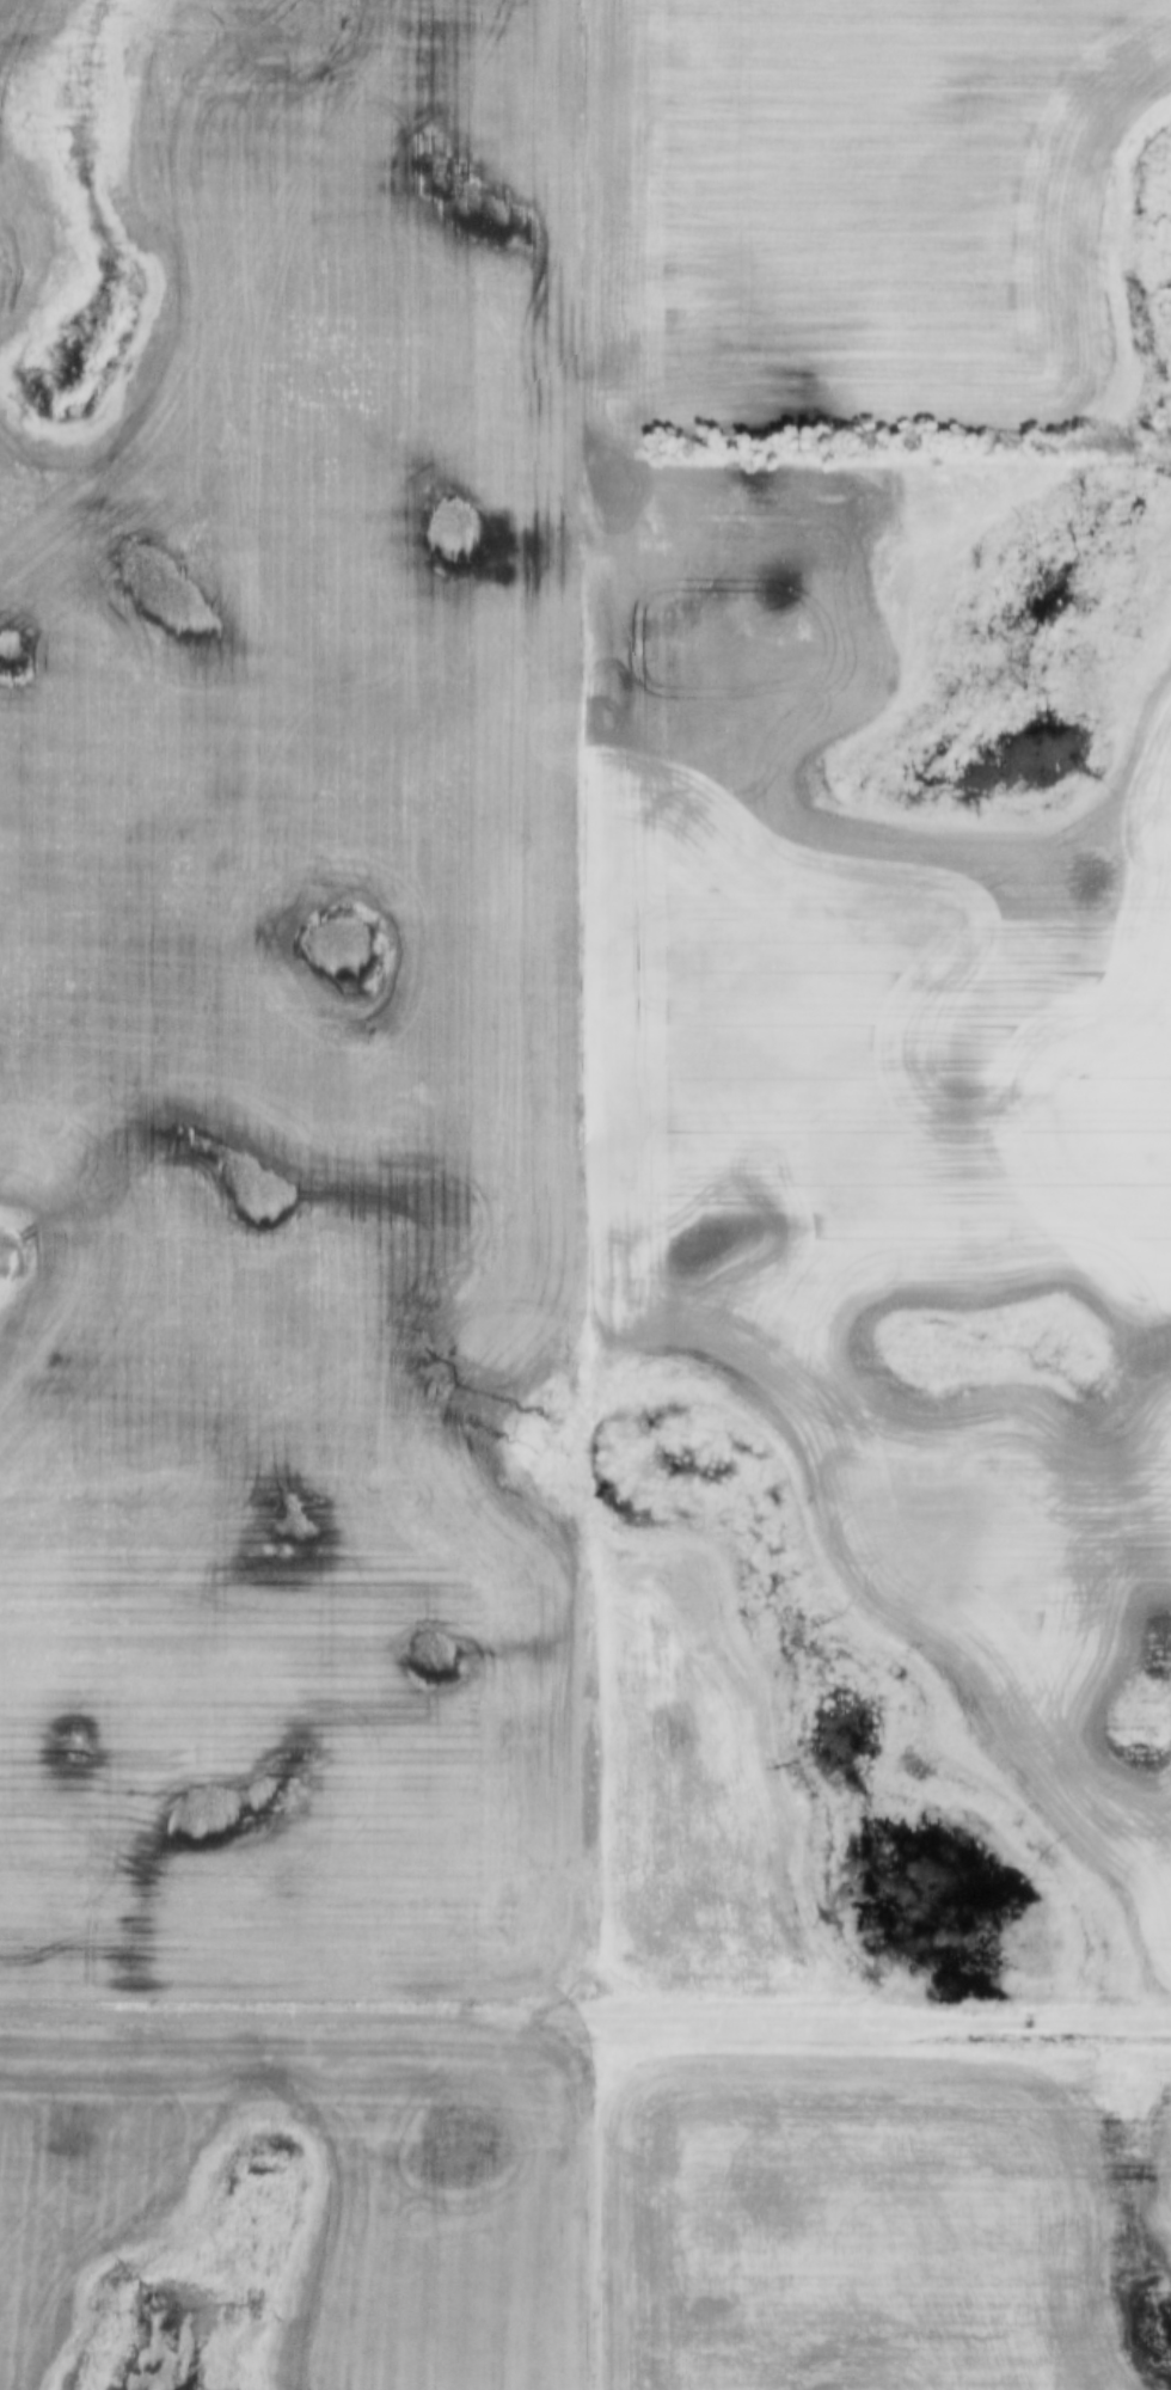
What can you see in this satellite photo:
road: (973, 2017)

